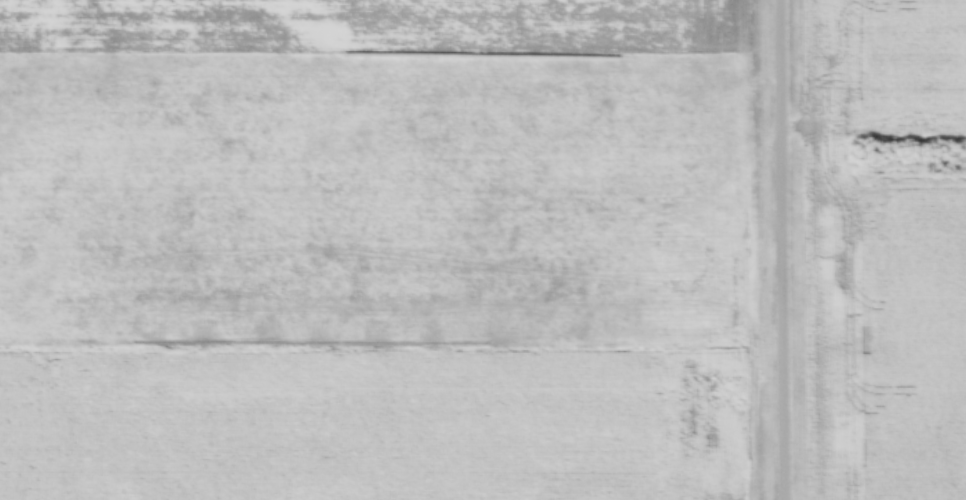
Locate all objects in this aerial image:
road: (783, 249)

